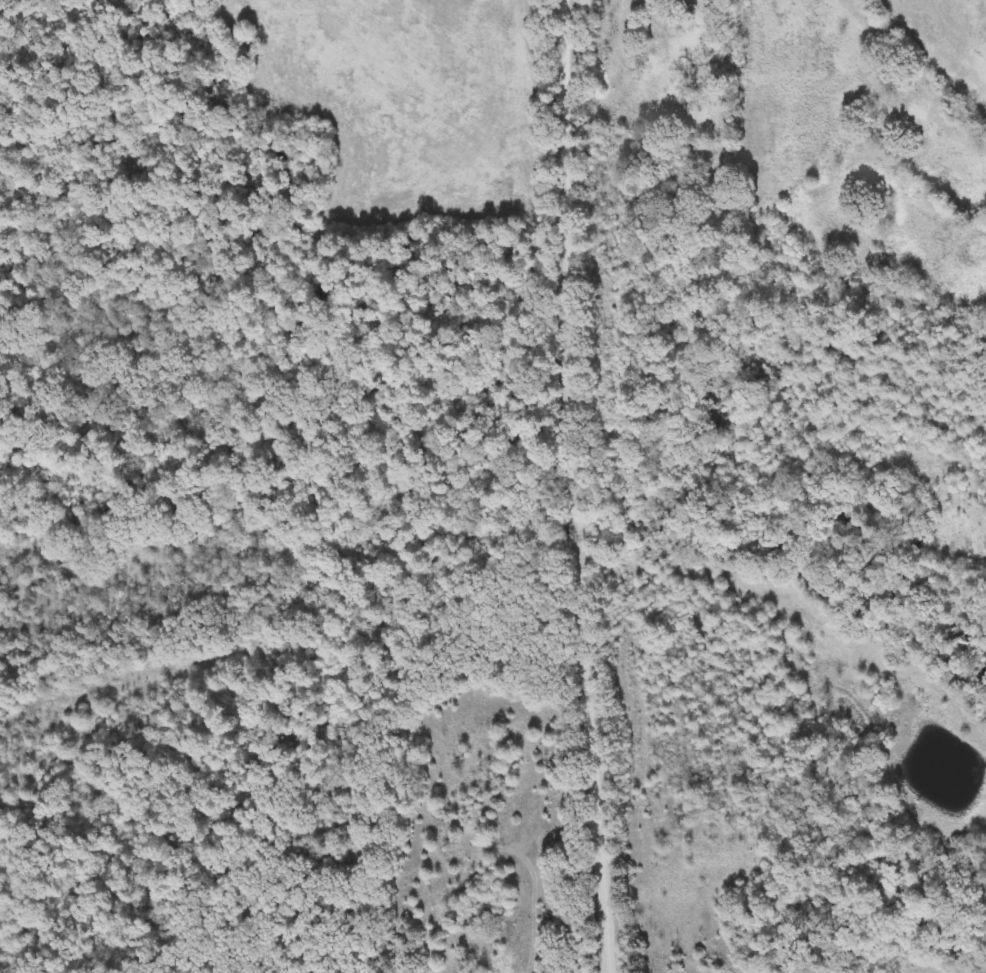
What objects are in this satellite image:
road: (574, 487)

